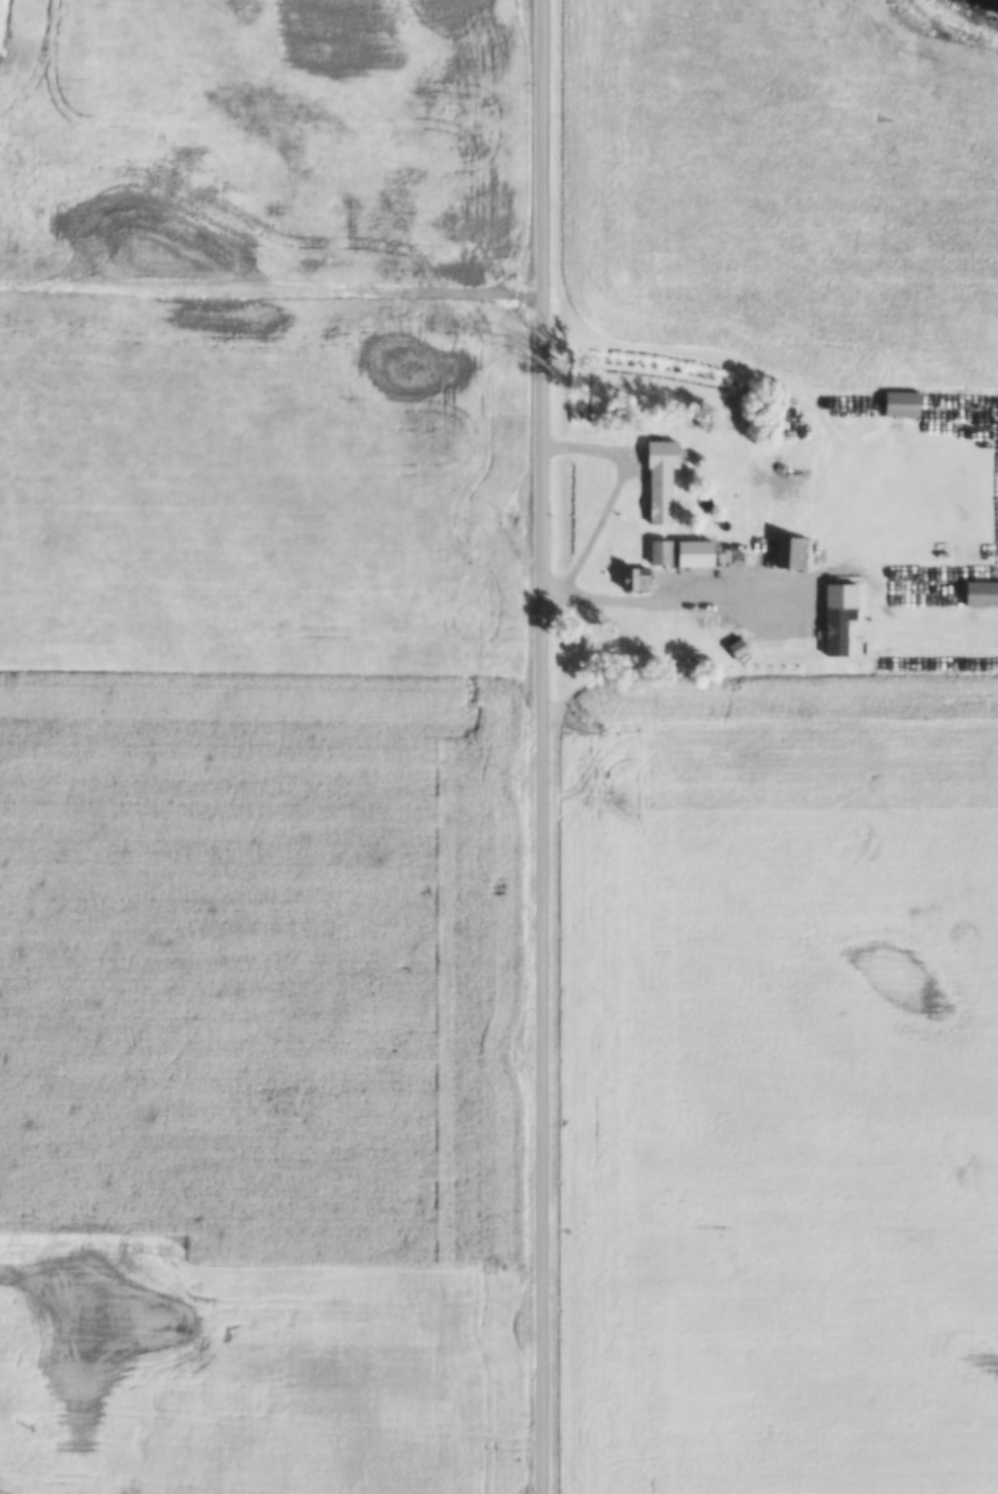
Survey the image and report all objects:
road: (272, 292)
building: (901, 404)
building: (659, 500)
building: (791, 554)
building: (660, 555)
building: (863, 578)
building: (635, 580)
building: (981, 594)
building: (790, 627)
road: (762, 638)
building: (737, 649)
road: (545, 747)

